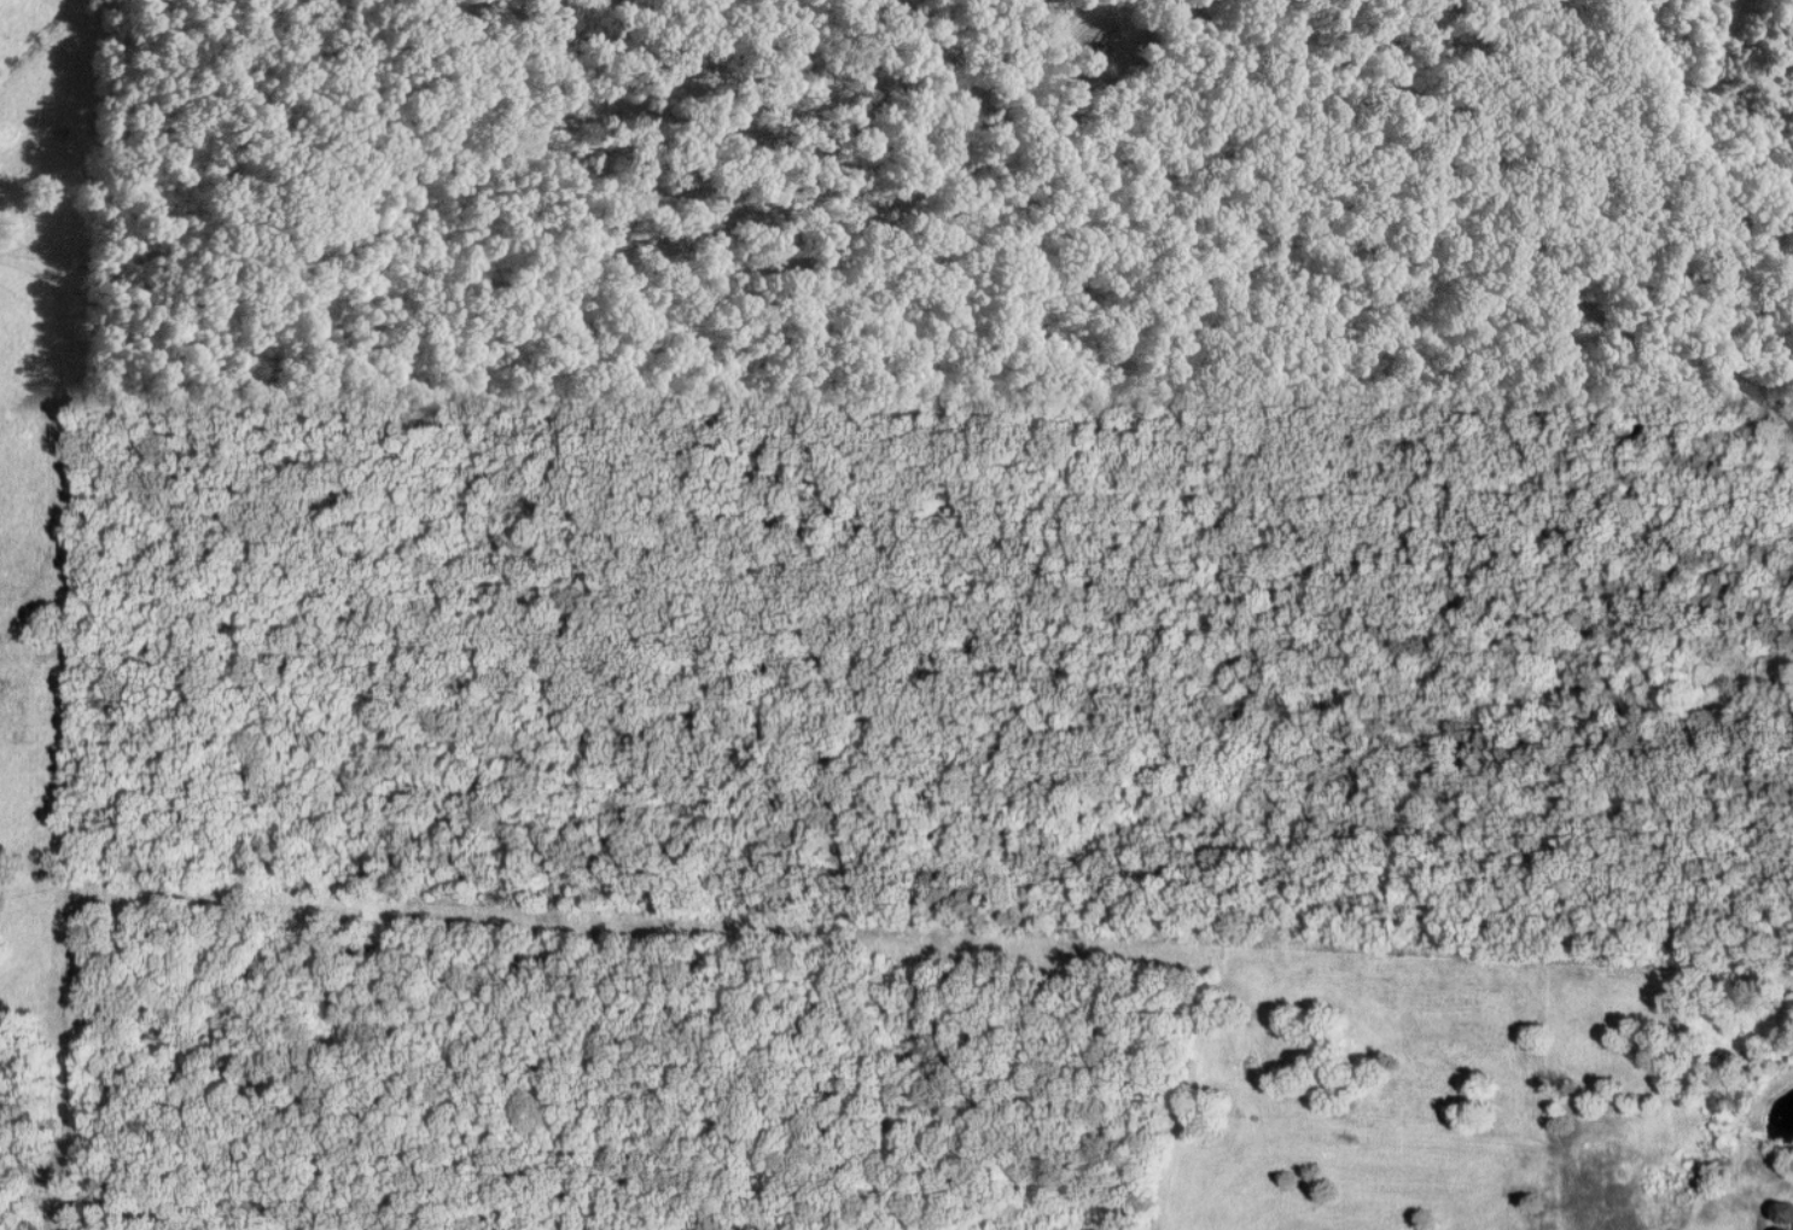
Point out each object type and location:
building: (1584, 1195)
building: (1642, 1223)

